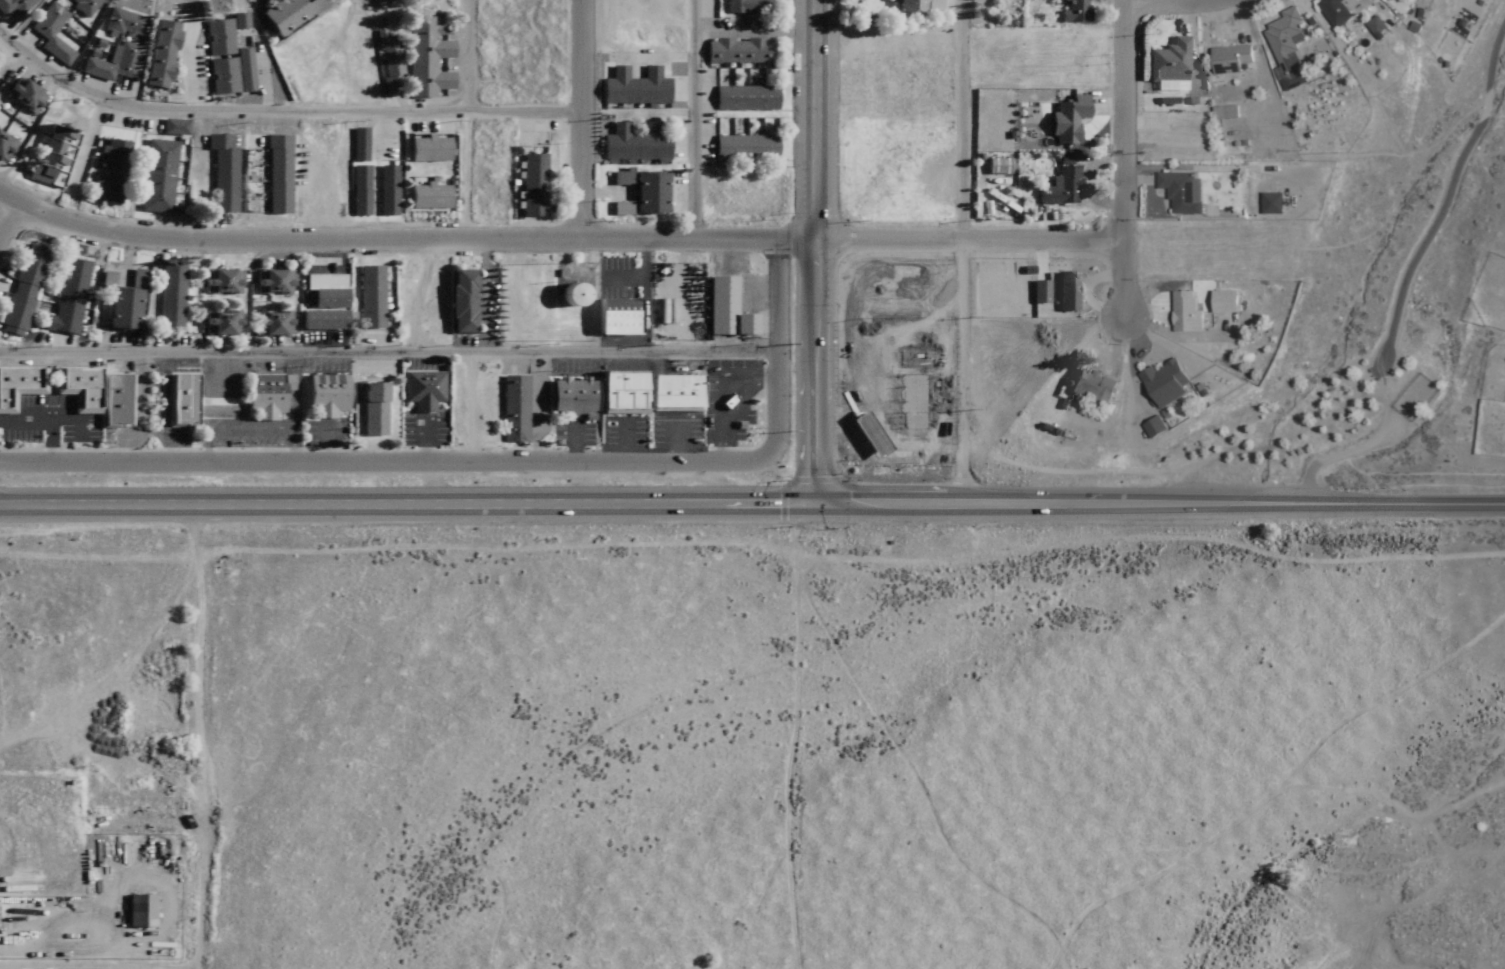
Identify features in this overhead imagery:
building: (316, 5)
building: (936, 5)
building: (15, 6)
building: (85, 6)
building: (749, 6)
building: (910, 6)
road: (1174, 7)
building: (1337, 10)
building: (1074, 11)
building: (284, 15)
building: (240, 21)
building: (125, 23)
building: (52, 32)
building: (1286, 46)
building: (229, 50)
building: (739, 51)
building: (163, 54)
building: (427, 58)
building: (1229, 59)
building: (1169, 62)
building: (114, 64)
building: (389, 65)
building: (223, 76)
building: (636, 87)
building: (24, 96)
building: (279, 96)
building: (746, 98)
building: (1068, 119)
road: (579, 120)
building: (636, 143)
building: (358, 145)
building: (5, 146)
building: (746, 147)
building: (428, 149)
building: (48, 155)
road: (1120, 161)
building: (1000, 166)
building: (112, 172)
building: (222, 172)
building: (277, 175)
building: (157, 177)
building: (533, 186)
building: (1062, 187)
building: (360, 191)
building: (387, 191)
building: (1182, 192)
building: (429, 196)
building: (644, 196)
road: (1447, 197)
building: (1271, 204)
road: (4, 217)
road: (557, 240)
road: (817, 252)
road: (964, 252)
road: (643, 277)
building: (220, 282)
building: (271, 283)
building: (21, 291)
building: (321, 291)
building: (1059, 292)
building: (569, 295)
building: (169, 296)
building: (369, 298)
building: (66, 299)
building: (1224, 301)
building: (459, 302)
building: (120, 309)
building: (727, 309)
road: (486, 312)
building: (1185, 312)
building: (616, 317)
building: (320, 321)
building: (219, 323)
building: (270, 323)
road: (779, 345)
road: (390, 353)
road: (226, 380)
building: (1165, 383)
building: (18, 385)
building: (1092, 387)
building: (421, 390)
building: (621, 393)
building: (674, 393)
building: (93, 394)
building: (263, 396)
building: (323, 396)
building: (571, 397)
road: (724, 397)
building: (180, 400)
road: (136, 408)
road: (164, 408)
road: (294, 408)
building: (512, 409)
building: (371, 410)
building: (906, 410)
road: (46, 418)
road: (64, 418)
road: (250, 430)
building: (867, 435)
road: (425, 440)
road: (677, 440)
road: (627, 441)
road: (574, 444)
road: (388, 462)
road: (404, 504)
traffic signals: (809, 504)
road: (1156, 505)
road: (796, 735)
road: (201, 737)
building: (140, 909)

